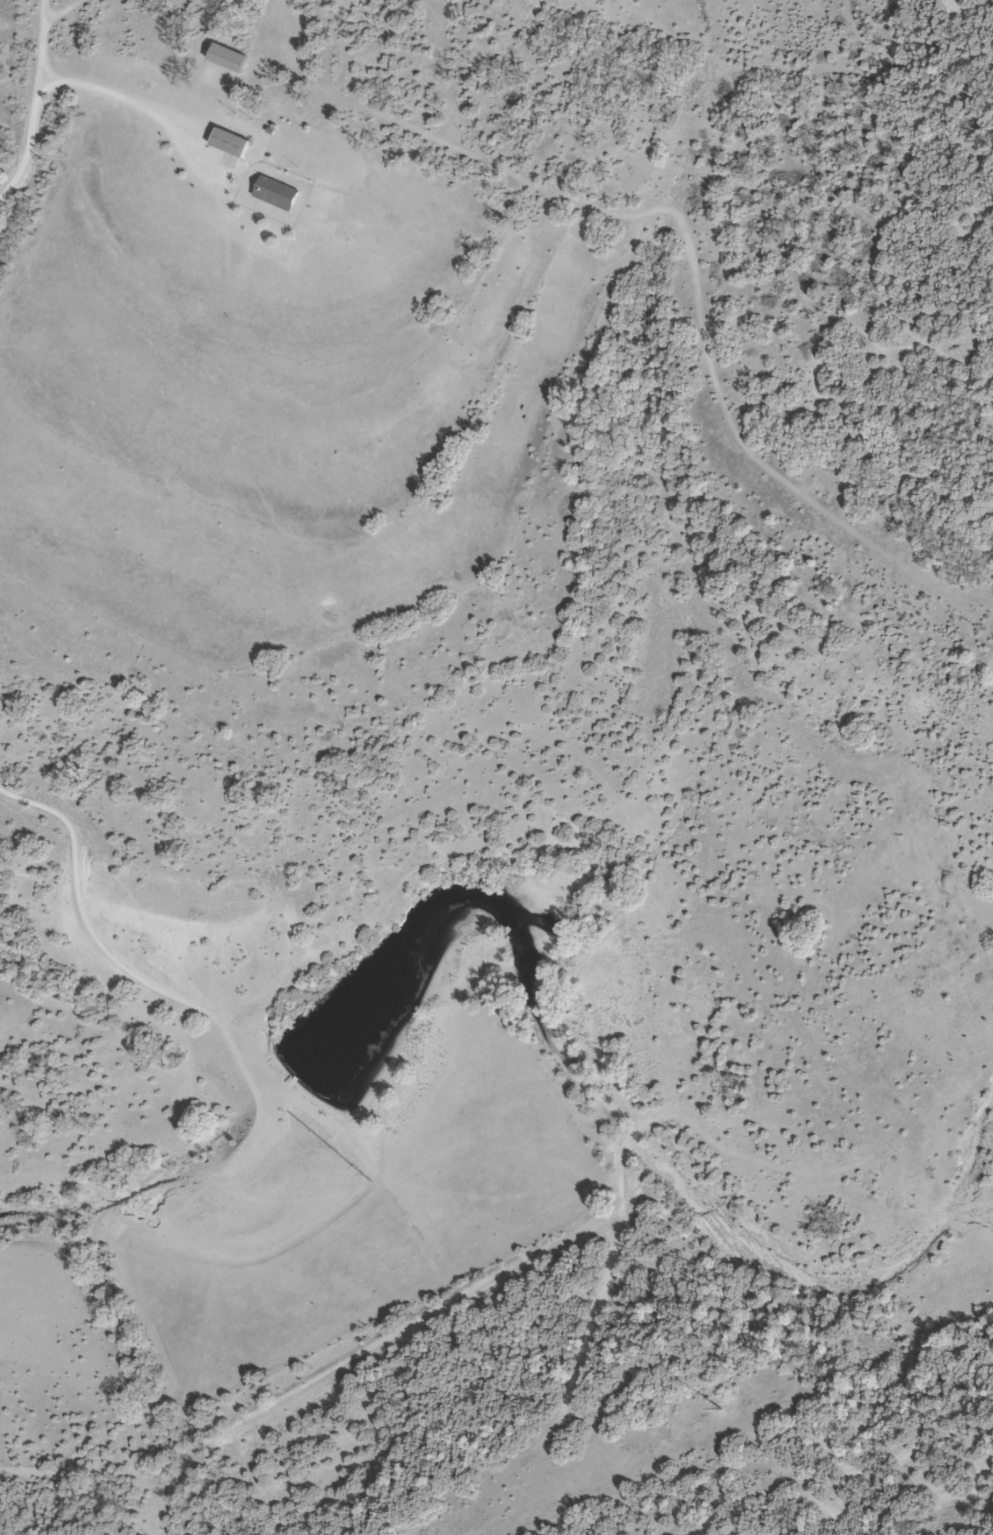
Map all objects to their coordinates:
building: (225, 58)
road: (32, 106)
building: (227, 143)
building: (273, 193)
power tower: (722, 1410)

